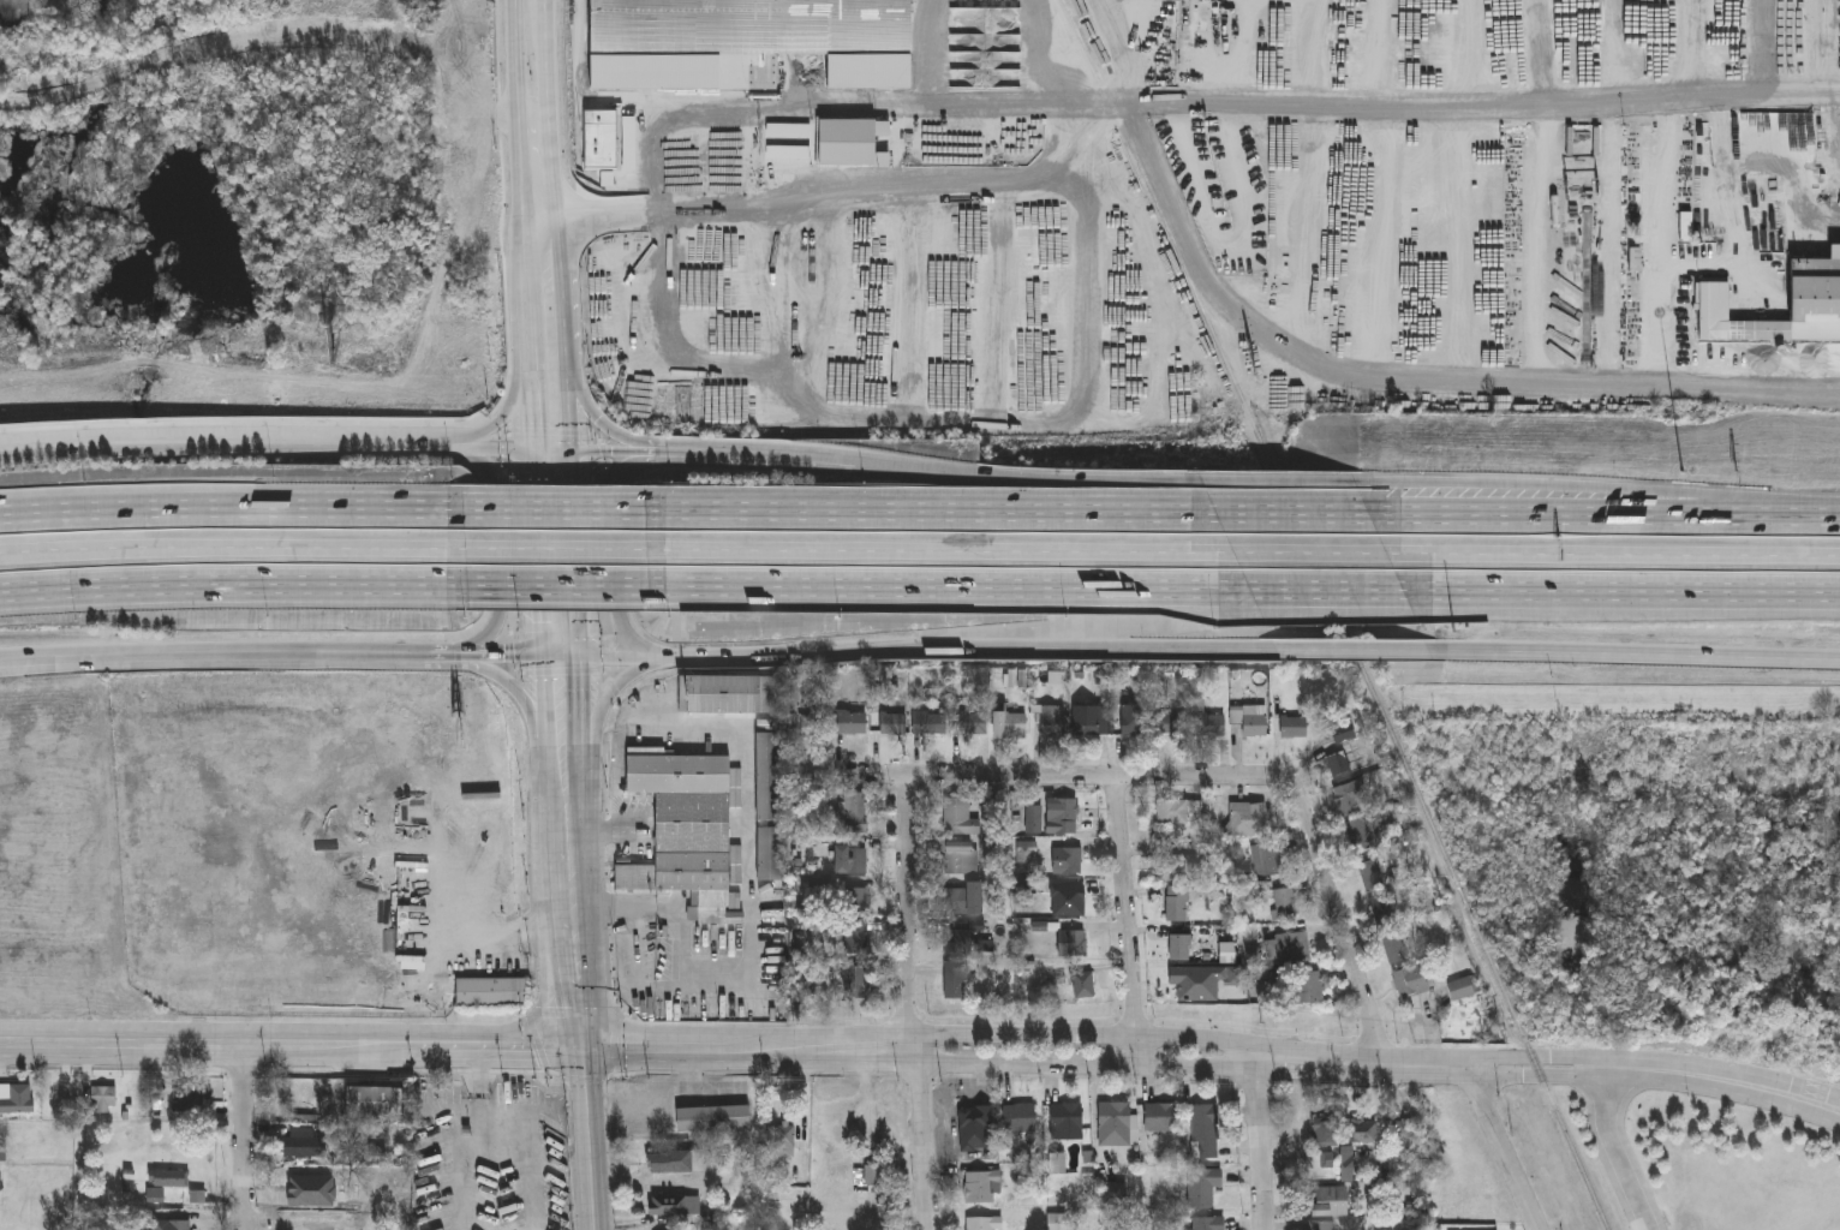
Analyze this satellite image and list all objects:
building: (748, 26)
road: (1458, 108)
road: (1080, 121)
building: (599, 141)
building: (854, 144)
road: (524, 154)
road: (561, 227)
building: (1812, 304)
road: (531, 350)
road: (925, 423)
road: (502, 424)
road: (603, 424)
road: (534, 425)
road: (59, 448)
road: (292, 450)
road: (512, 452)
traffic signals: (558, 452)
road: (604, 452)
road: (668, 452)
road: (772, 453)
road: (59, 454)
road: (629, 464)
road: (485, 466)
road: (1030, 476)
road: (1278, 482)
road: (1570, 486)
road: (231, 510)
road: (552, 510)
road: (930, 513)
road: (1294, 515)
road: (1577, 515)
road: (1811, 517)
road: (616, 548)
road: (232, 549)
road: (555, 549)
road: (500, 551)
road: (940, 551)
road: (1310, 553)
road: (561, 554)
road: (1613, 554)
building: (467, 560)
building: (671, 563)
road: (232, 586)
road: (557, 586)
road: (950, 589)
road: (1327, 591)
road: (1621, 591)
railway: (1338, 614)
road: (632, 638)
road: (485, 639)
road: (1354, 651)
road: (1633, 653)
road: (921, 655)
road: (420, 657)
road: (513, 657)
traffic signals: (564, 657)
road: (189, 658)
building: (728, 698)
road: (526, 704)
road: (602, 709)
road: (566, 716)
building: (1250, 721)
building: (1135, 722)
building: (1055, 723)
building: (1087, 723)
building: (1175, 724)
building: (814, 726)
building: (852, 726)
building: (931, 726)
building: (974, 726)
building: (895, 727)
building: (1211, 727)
building: (1011, 728)
building: (1295, 730)
building: (1340, 750)
road: (1068, 778)
building: (771, 780)
building: (1350, 801)
building: (856, 814)
building: (1178, 814)
building: (993, 816)
building: (1063, 818)
building: (961, 820)
building: (1035, 822)
building: (1249, 822)
building: (683, 829)
building: (1361, 837)
building: (771, 856)
building: (962, 860)
building: (1267, 861)
building: (853, 862)
building: (1069, 862)
building: (1178, 867)
building: (1372, 877)
building: (966, 902)
building: (854, 903)
building: (1178, 906)
building: (1285, 906)
building: (1075, 907)
road: (572, 910)
building: (1384, 910)
road: (1340, 916)
road: (1128, 921)
road: (685, 924)
road: (502, 933)
road: (748, 935)
building: (856, 942)
building: (961, 945)
building: (1074, 945)
building: (1396, 947)
building: (1289, 949)
building: (1183, 950)
building: (1226, 979)
building: (1411, 981)
building: (957, 983)
building: (858, 984)
building: (1086, 986)
building: (1184, 987)
building: (1308, 989)
building: (1465, 989)
building: (491, 992)
building: (329, 998)
road: (912, 1005)
road: (1083, 1034)
road: (456, 1046)
traffic signals: (583, 1046)
road: (1320, 1062)
road: (1085, 1065)
road: (1654, 1073)
building: (17, 1099)
building: (102, 1099)
building: (189, 1099)
building: (378, 1103)
road: (1486, 1111)
building: (1163, 1119)
building: (715, 1121)
building: (1021, 1121)
building: (1068, 1123)
building: (1116, 1125)
building: (1404, 1133)
building: (1206, 1134)
building: (1325, 1134)
building: (1366, 1134)
road: (590, 1138)
building: (788, 1138)
road: (244, 1139)
road: (1260, 1142)
building: (301, 1145)
road: (1615, 1152)
building: (1, 1153)
building: (1348, 1162)
building: (1321, 1163)
building: (668, 1164)
building: (873, 1177)
building: (169, 1178)
building: (0, 1181)
building: (127, 1182)
building: (1203, 1188)
building: (985, 1189)
building: (1113, 1195)
building: (155, 1196)
building: (196, 1199)
building: (1331, 1204)
building: (669, 1208)
building: (984, 1224)
building: (1209, 1224)
building: (171, 1225)

